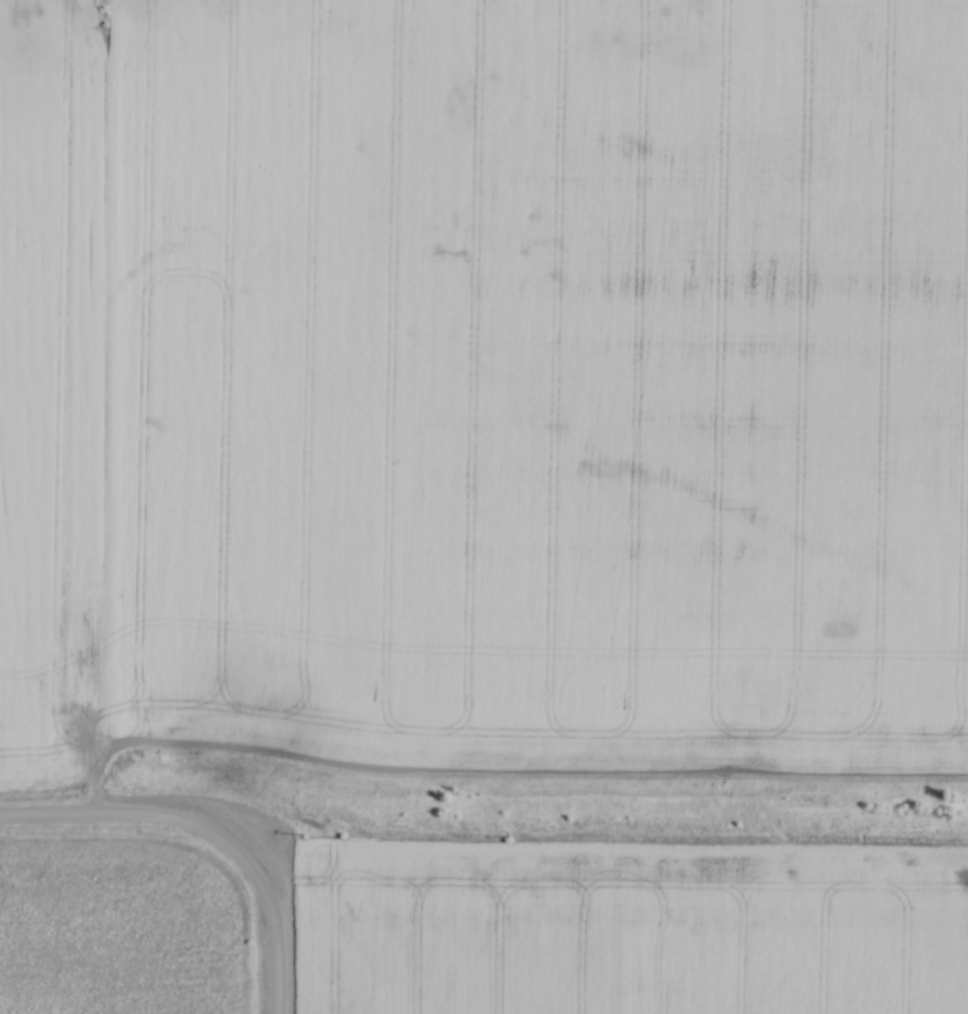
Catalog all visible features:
road: (105, 817)
road: (270, 912)

